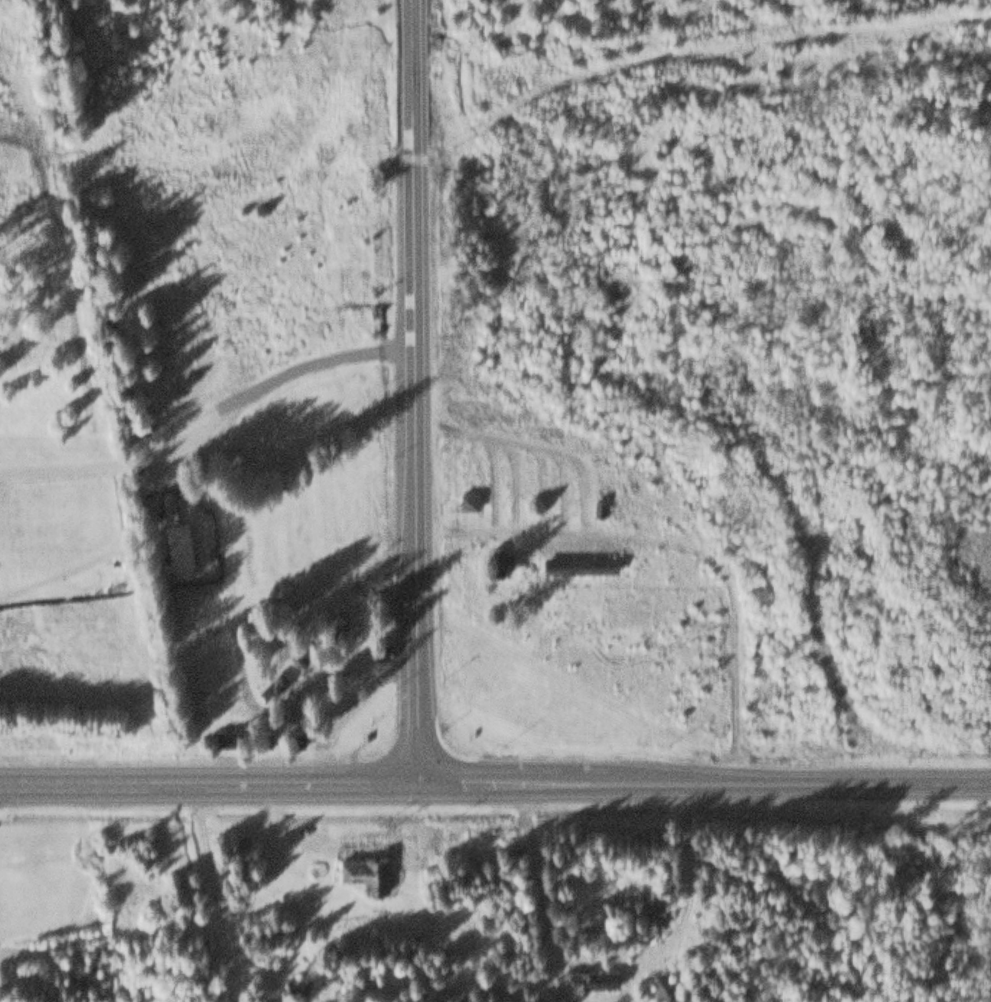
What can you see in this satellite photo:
road: (413, 390)
road: (209, 421)
building: (468, 499)
building: (599, 507)
building: (179, 544)
building: (499, 558)
building: (575, 563)
building: (299, 655)
road: (346, 709)
building: (223, 737)
road: (495, 780)
building: (366, 869)
road: (214, 892)
building: (652, 905)
building: (590, 975)
building: (663, 984)
building: (295, 985)

